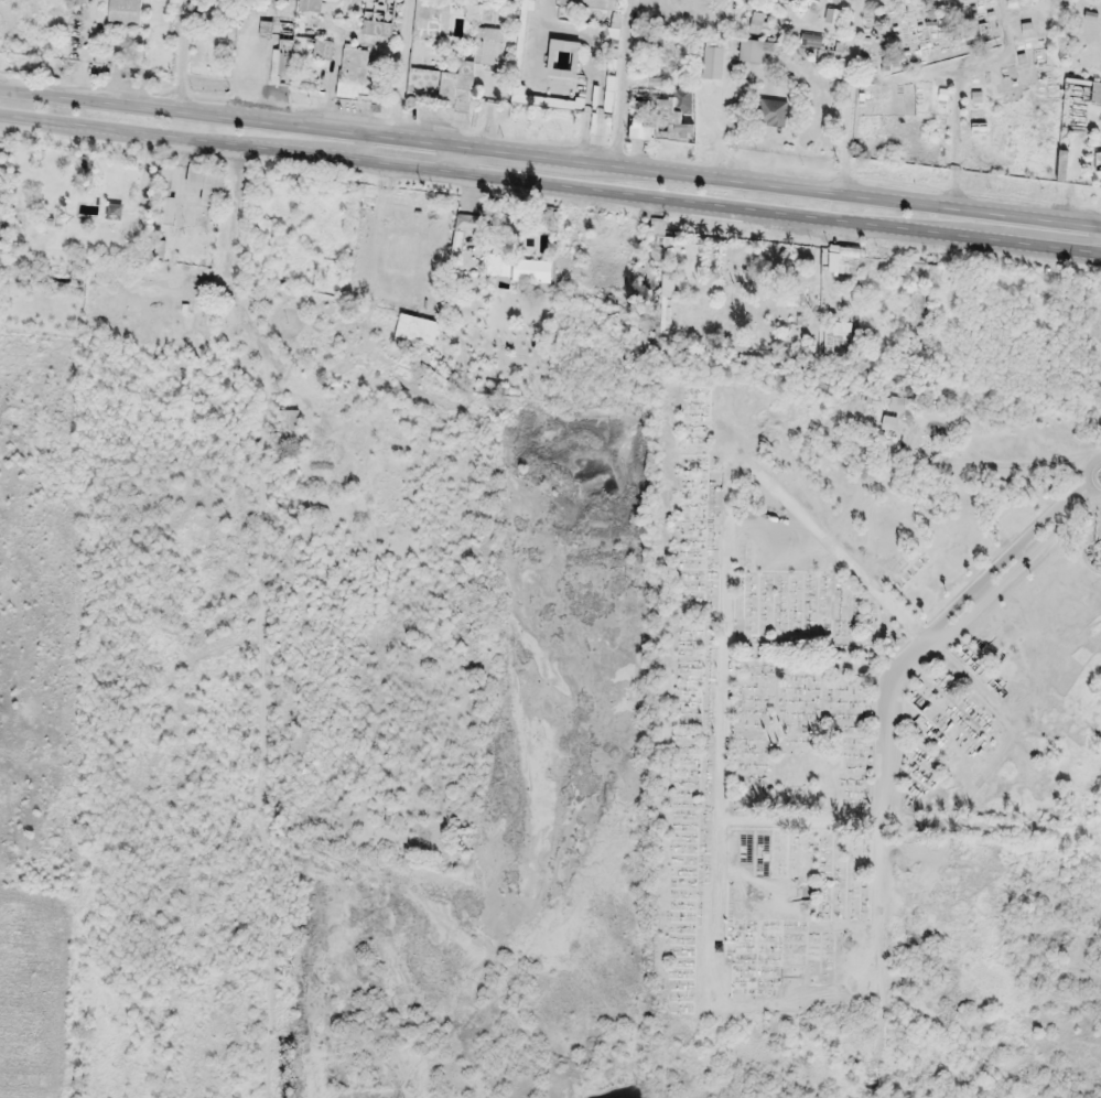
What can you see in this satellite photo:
building: (566, 58)
building: (425, 80)
park: (962, 82)
building: (457, 84)
building: (535, 270)
park: (811, 689)

